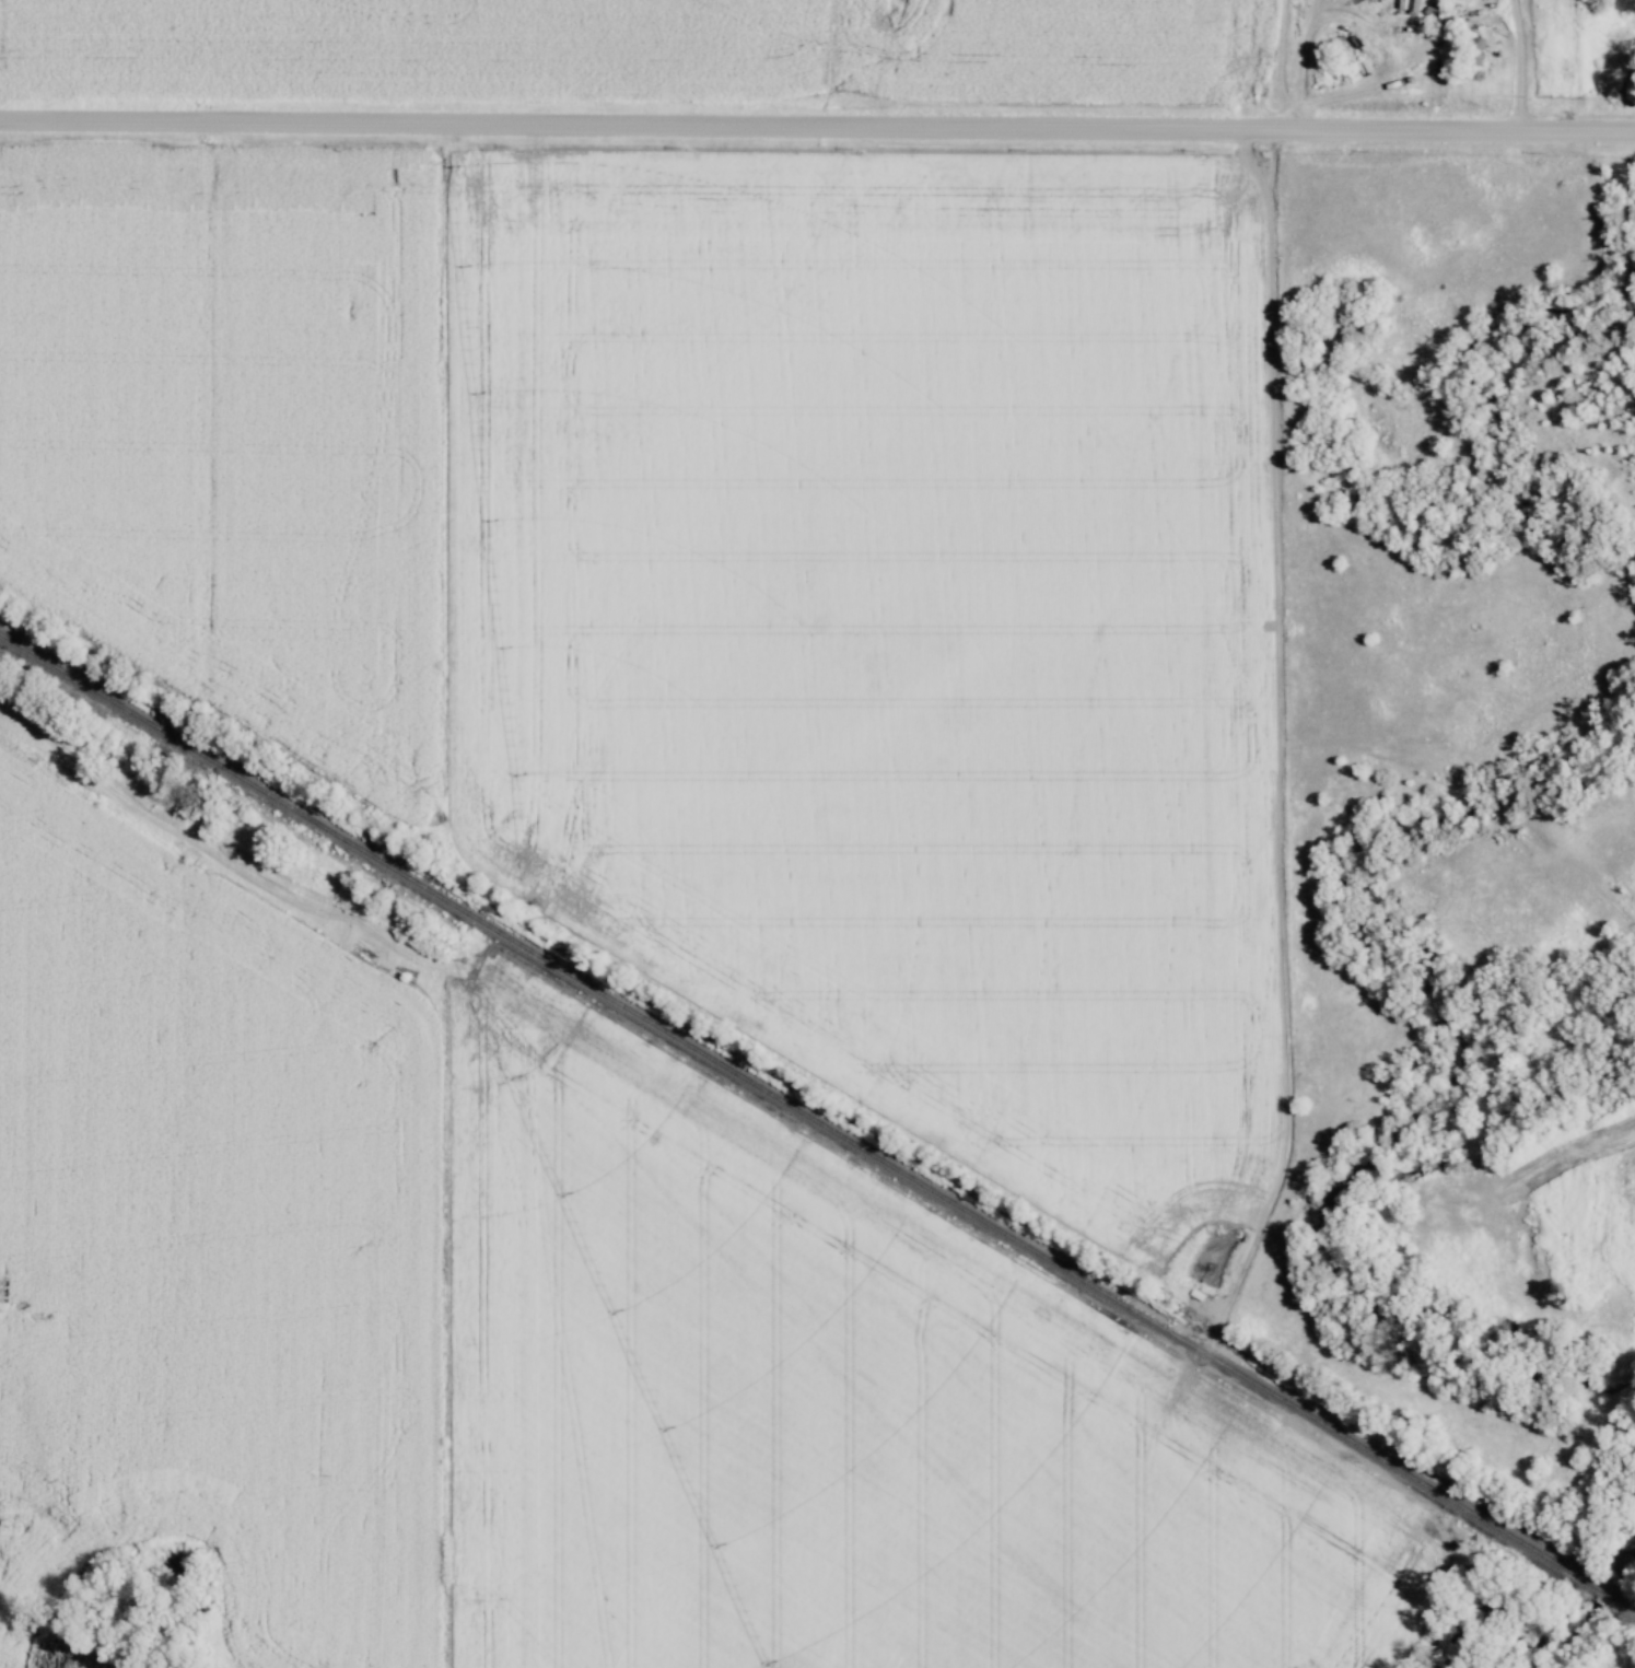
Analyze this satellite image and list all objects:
road: (817, 127)
railway: (817, 1121)

